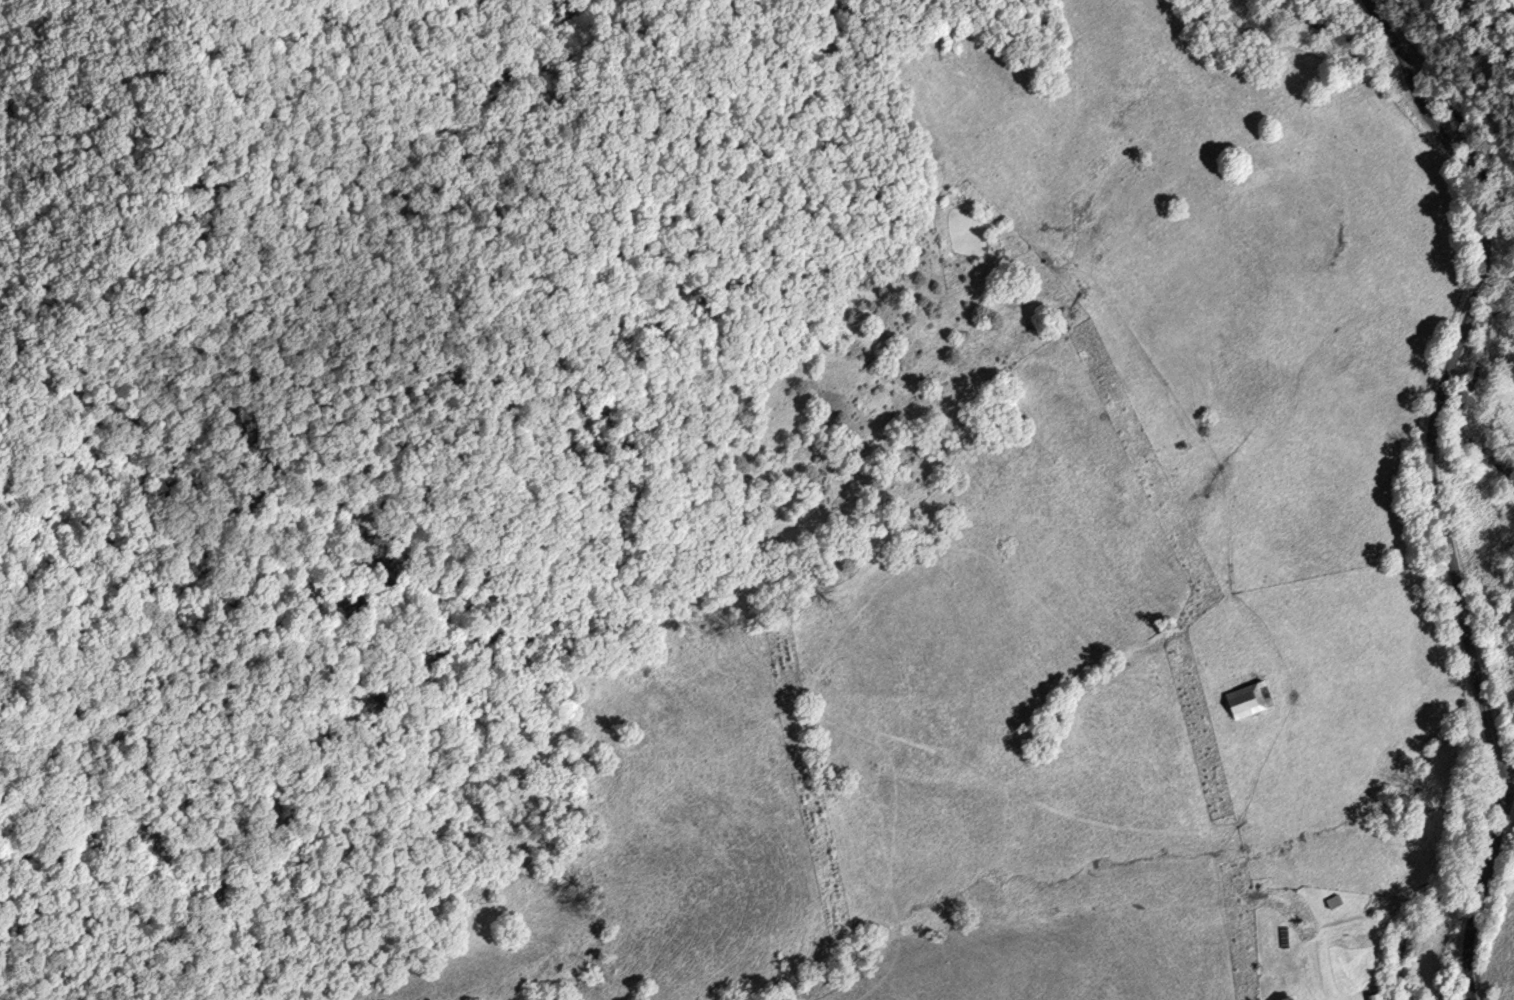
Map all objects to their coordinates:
road: (1439, 486)
building: (1252, 699)
road: (1507, 766)
building: (1338, 900)
road: (1449, 980)
building: (1379, 996)

